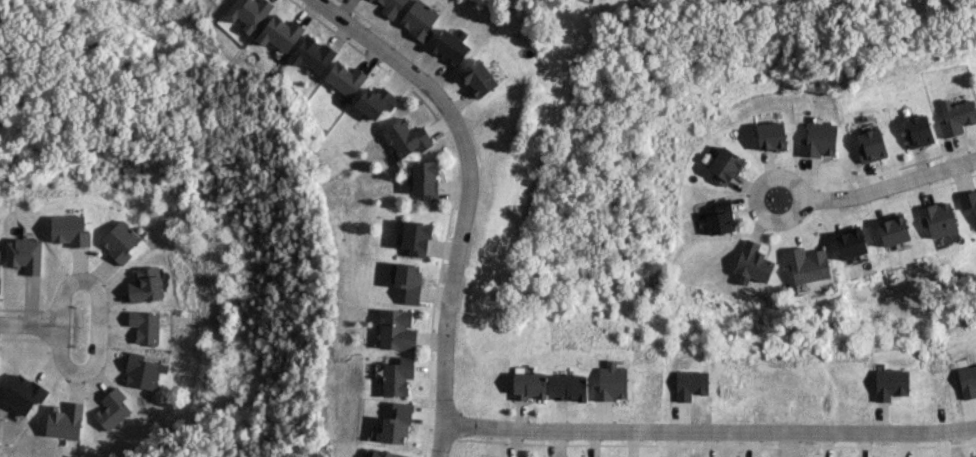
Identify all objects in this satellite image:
building: (390, 7)
building: (248, 13)
building: (418, 19)
building: (279, 33)
building: (448, 46)
building: (312, 54)
building: (477, 77)
building: (344, 78)
building: (375, 101)
building: (956, 116)
building: (917, 130)
building: (770, 135)
building: (406, 137)
building: (818, 139)
building: (870, 145)
building: (723, 165)
building: (424, 179)
road: (890, 185)
road: (799, 189)
road: (466, 195)
building: (968, 200)
building: (719, 217)
building: (937, 218)
building: (69, 230)
building: (893, 231)
building: (415, 238)
building: (119, 241)
building: (850, 243)
building: (24, 254)
building: (752, 263)
building: (806, 264)
building: (407, 280)
building: (145, 284)
road: (27, 324)
building: (144, 326)
road: (98, 329)
building: (396, 330)
building: (143, 371)
building: (397, 376)
building: (967, 381)
building: (610, 382)
building: (890, 383)
building: (528, 385)
building: (569, 387)
building: (23, 393)
building: (112, 408)
building: (64, 420)
building: (396, 424)
road: (709, 430)
building: (382, 453)

